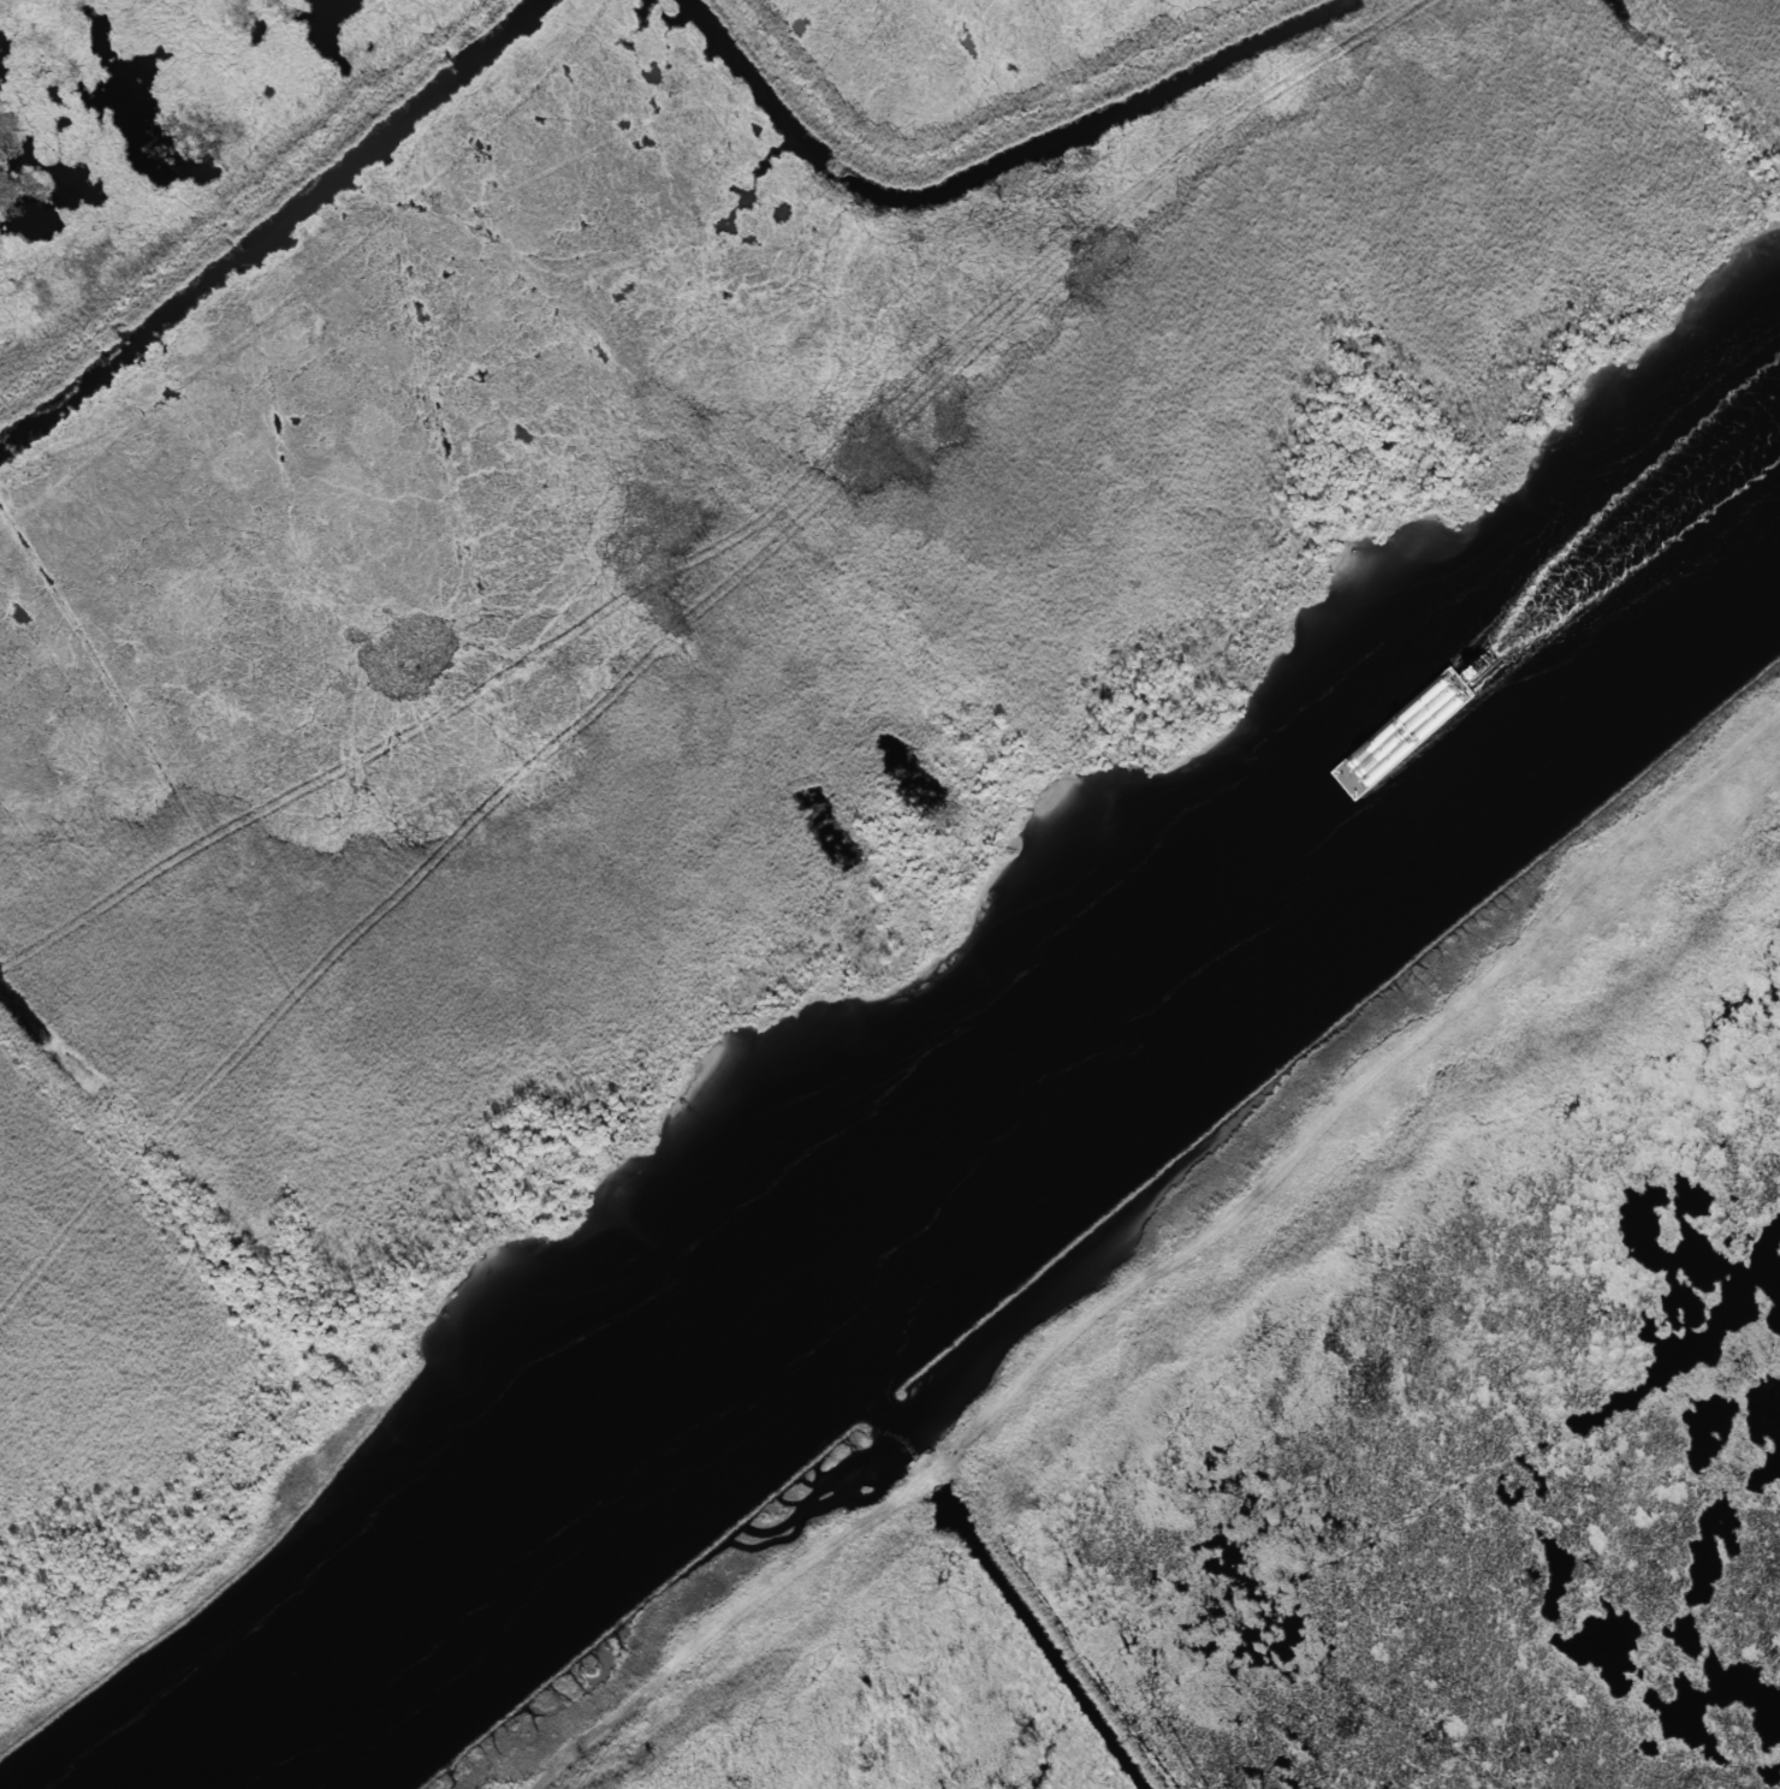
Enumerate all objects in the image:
road: (1147, 1256)

